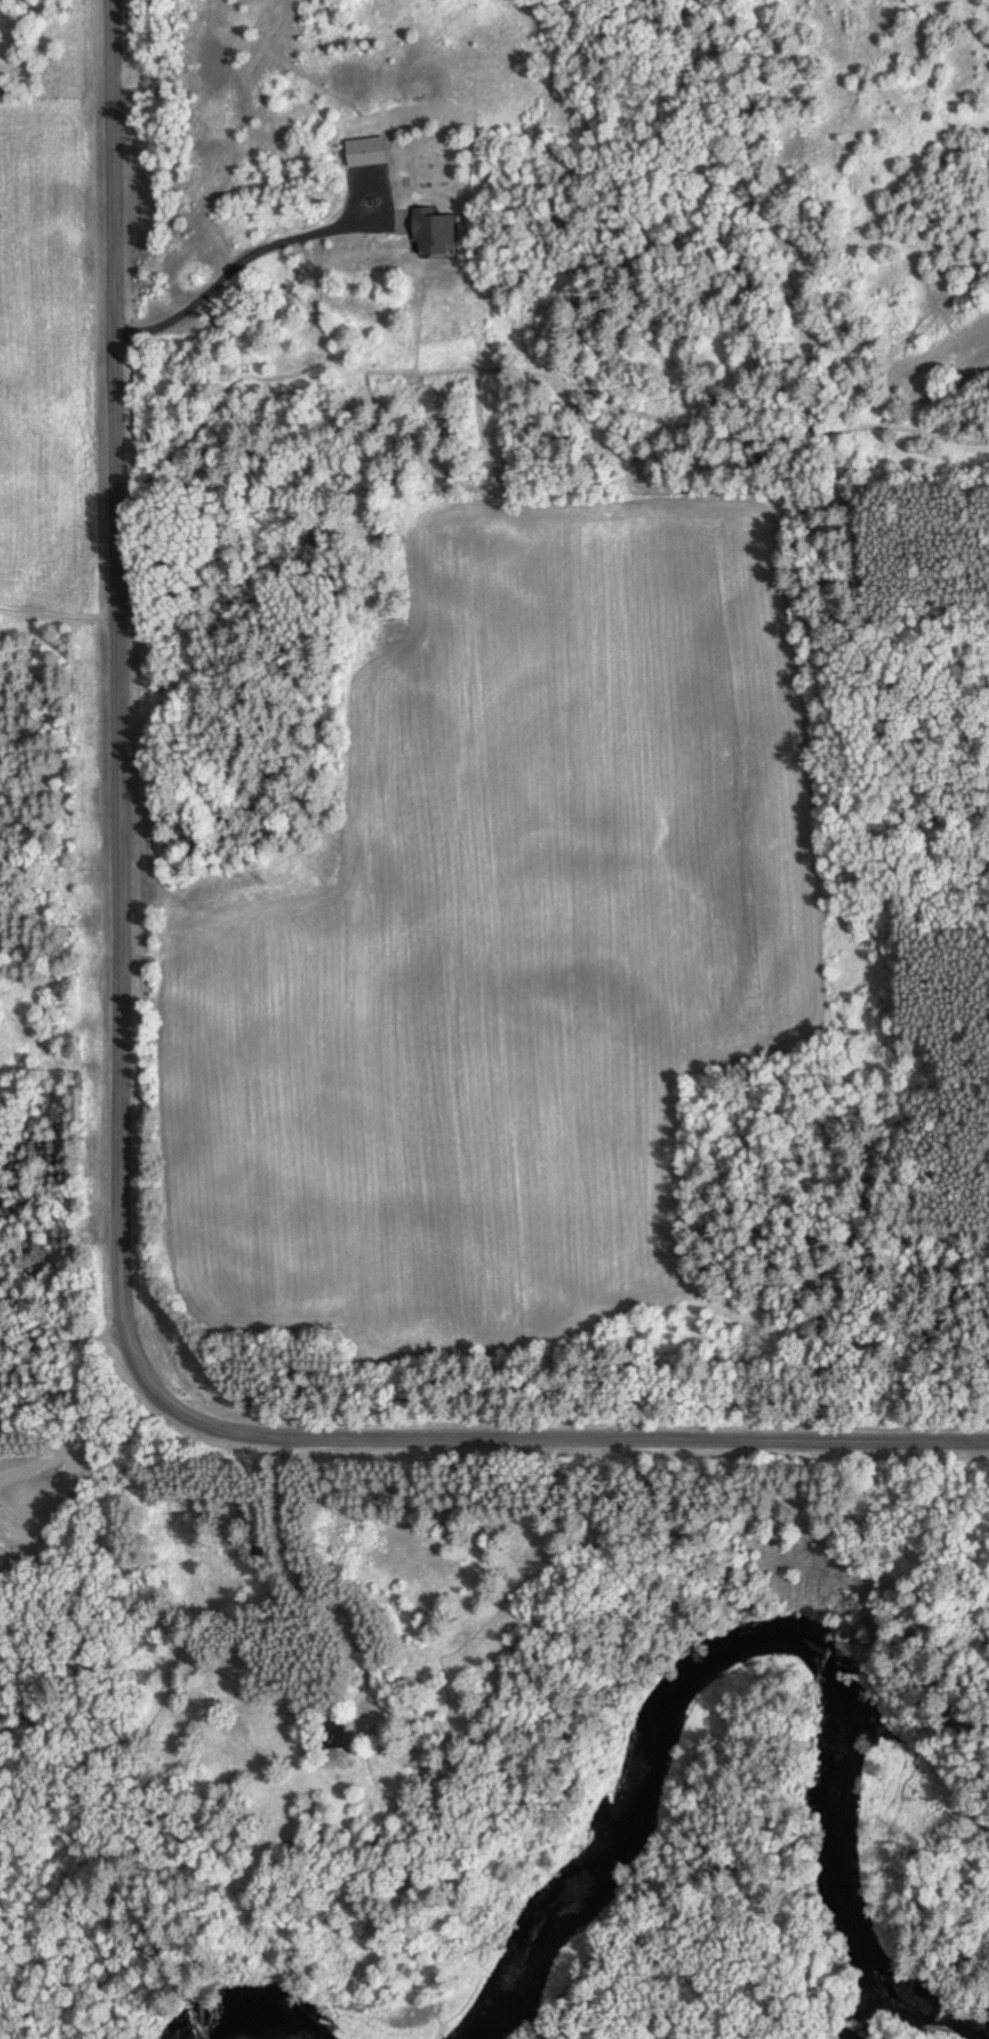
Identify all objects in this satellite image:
road: (237, 135)
building: (364, 153)
building: (430, 234)
road: (121, 704)
road: (85, 1409)
road: (573, 1434)
road: (633, 1571)
river: (768, 1663)
building: (330, 1737)

